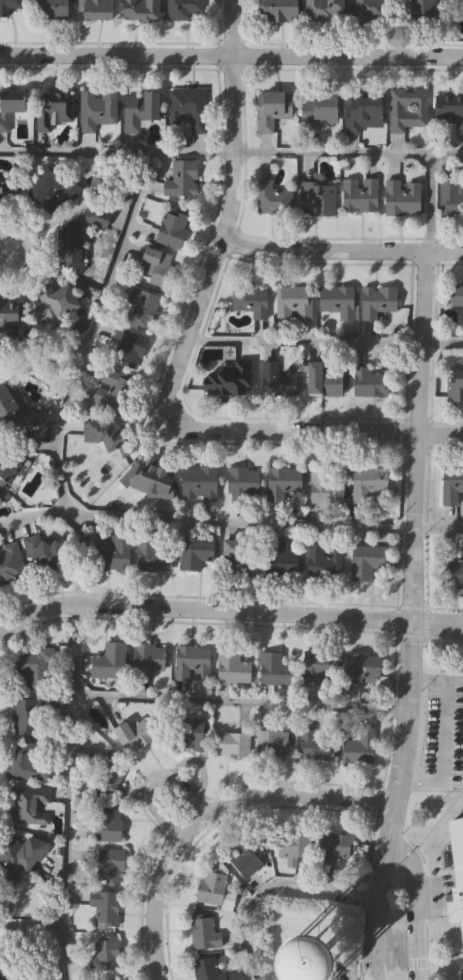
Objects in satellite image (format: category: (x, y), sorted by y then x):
building: (9, 6)
building: (54, 7)
building: (186, 8)
building: (97, 9)
building: (327, 9)
building: (419, 9)
building: (144, 10)
building: (280, 10)
building: (373, 10)
road: (231, 57)
building: (13, 104)
building: (55, 106)
building: (190, 106)
building: (99, 107)
building: (274, 107)
building: (322, 107)
building: (409, 107)
building: (450, 109)
building: (144, 110)
building: (367, 111)
road: (231, 154)
building: (184, 177)
building: (3, 183)
building: (55, 187)
building: (362, 192)
building: (319, 196)
building: (404, 196)
building: (274, 197)
building: (452, 197)
road: (429, 204)
building: (174, 227)
road: (4, 246)
building: (75, 247)
road: (341, 252)
building: (159, 264)
building: (459, 293)
building: (252, 298)
building: (339, 298)
building: (379, 299)
building: (295, 301)
building: (56, 302)
building: (6, 308)
building: (145, 308)
road: (91, 331)
road: (43, 343)
road: (324, 343)
building: (131, 347)
road: (181, 354)
building: (229, 379)
building: (278, 379)
building: (325, 379)
building: (370, 381)
building: (455, 385)
building: (112, 387)
building: (10, 405)
building: (111, 446)
building: (13, 465)
building: (152, 479)
building: (285, 480)
building: (369, 481)
building: (199, 482)
building: (246, 482)
building: (453, 483)
building: (328, 484)
building: (1, 500)
road: (31, 518)
road: (263, 523)
building: (114, 551)
building: (46, 552)
building: (157, 552)
building: (197, 552)
building: (243, 554)
building: (282, 559)
building: (326, 560)
building: (368, 560)
building: (10, 563)
building: (453, 573)
road: (229, 612)
road: (410, 617)
building: (149, 659)
building: (111, 660)
building: (194, 662)
building: (320, 663)
building: (233, 665)
building: (275, 667)
building: (37, 668)
building: (363, 668)
road: (239, 704)
building: (26, 716)
building: (137, 734)
building: (189, 734)
road: (443, 734)
building: (275, 742)
building: (234, 745)
building: (317, 745)
building: (361, 747)
building: (28, 763)
building: (109, 775)
road: (156, 783)
road: (69, 792)
building: (32, 804)
road: (209, 811)
building: (110, 823)
building: (294, 845)
building: (22, 855)
building: (248, 856)
building: (112, 865)
building: (457, 871)
road: (271, 884)
building: (212, 886)
road: (414, 904)
building: (107, 909)
road: (31, 925)
building: (205, 931)
building: (107, 953)
building: (306, 960)
water tower: (307, 965)
building: (208, 969)
building: (11, 973)
building: (120, 979)

